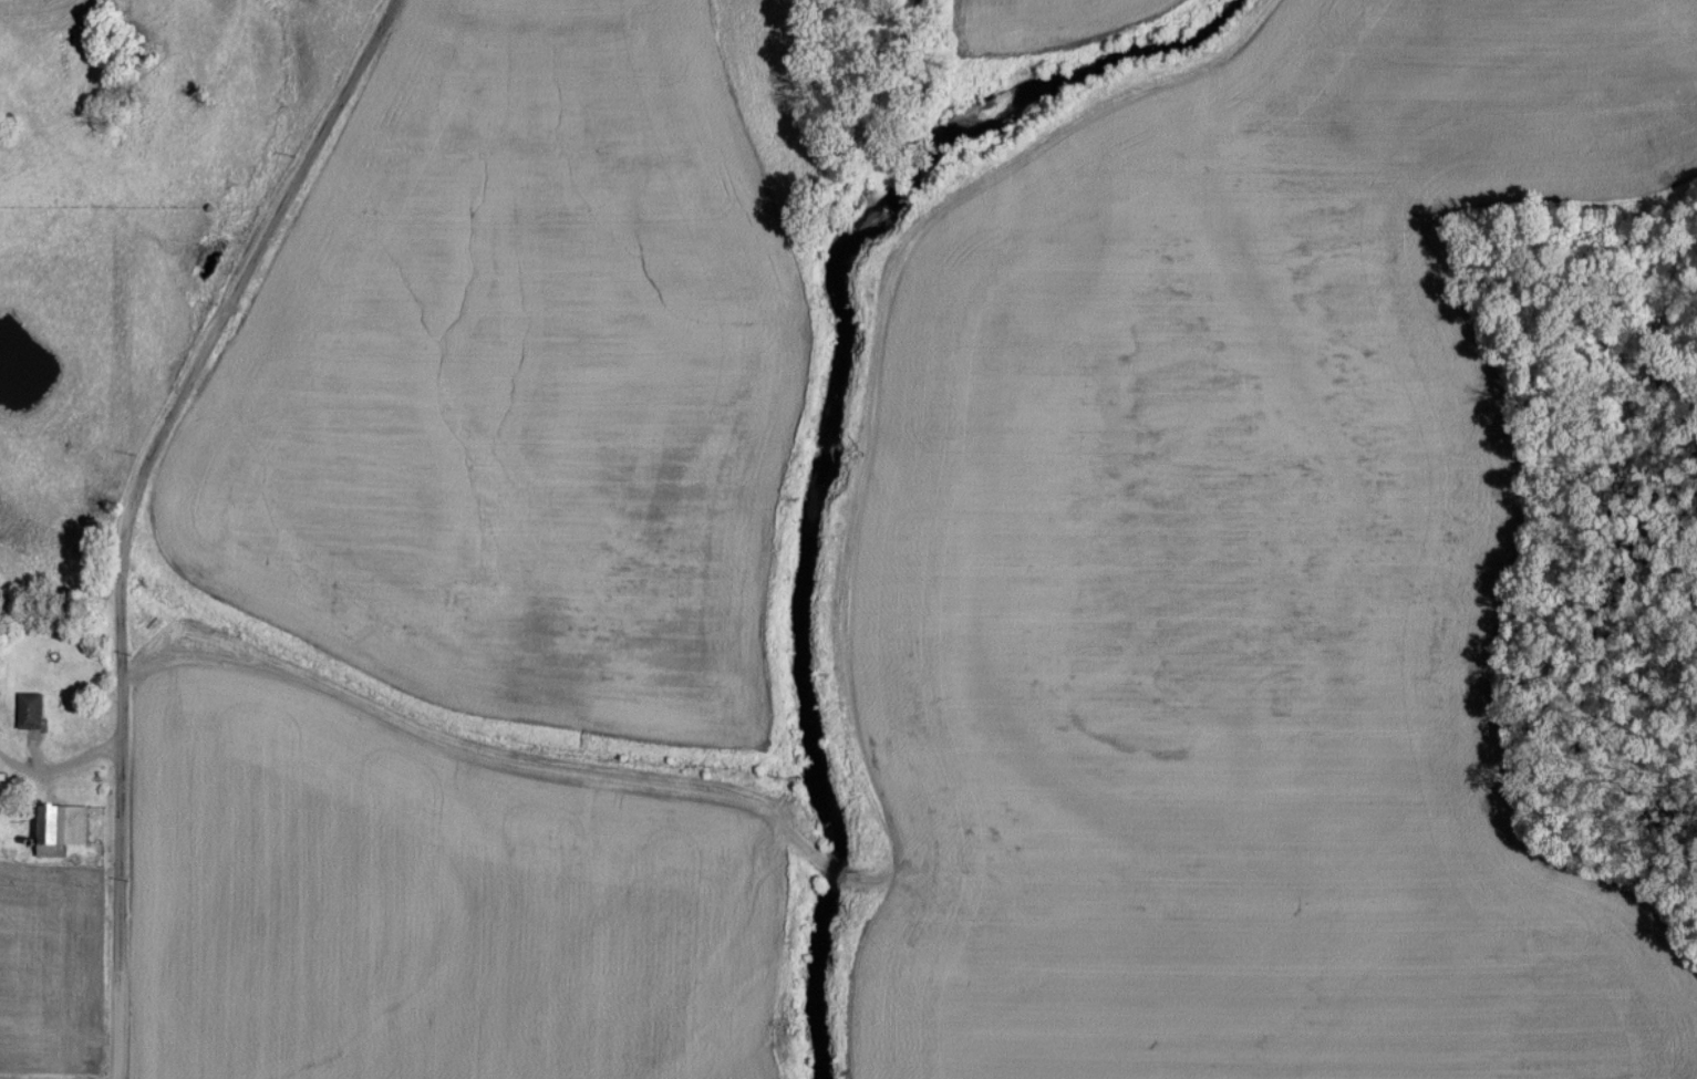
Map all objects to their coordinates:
road: (141, 510)
building: (27, 709)
building: (56, 827)

